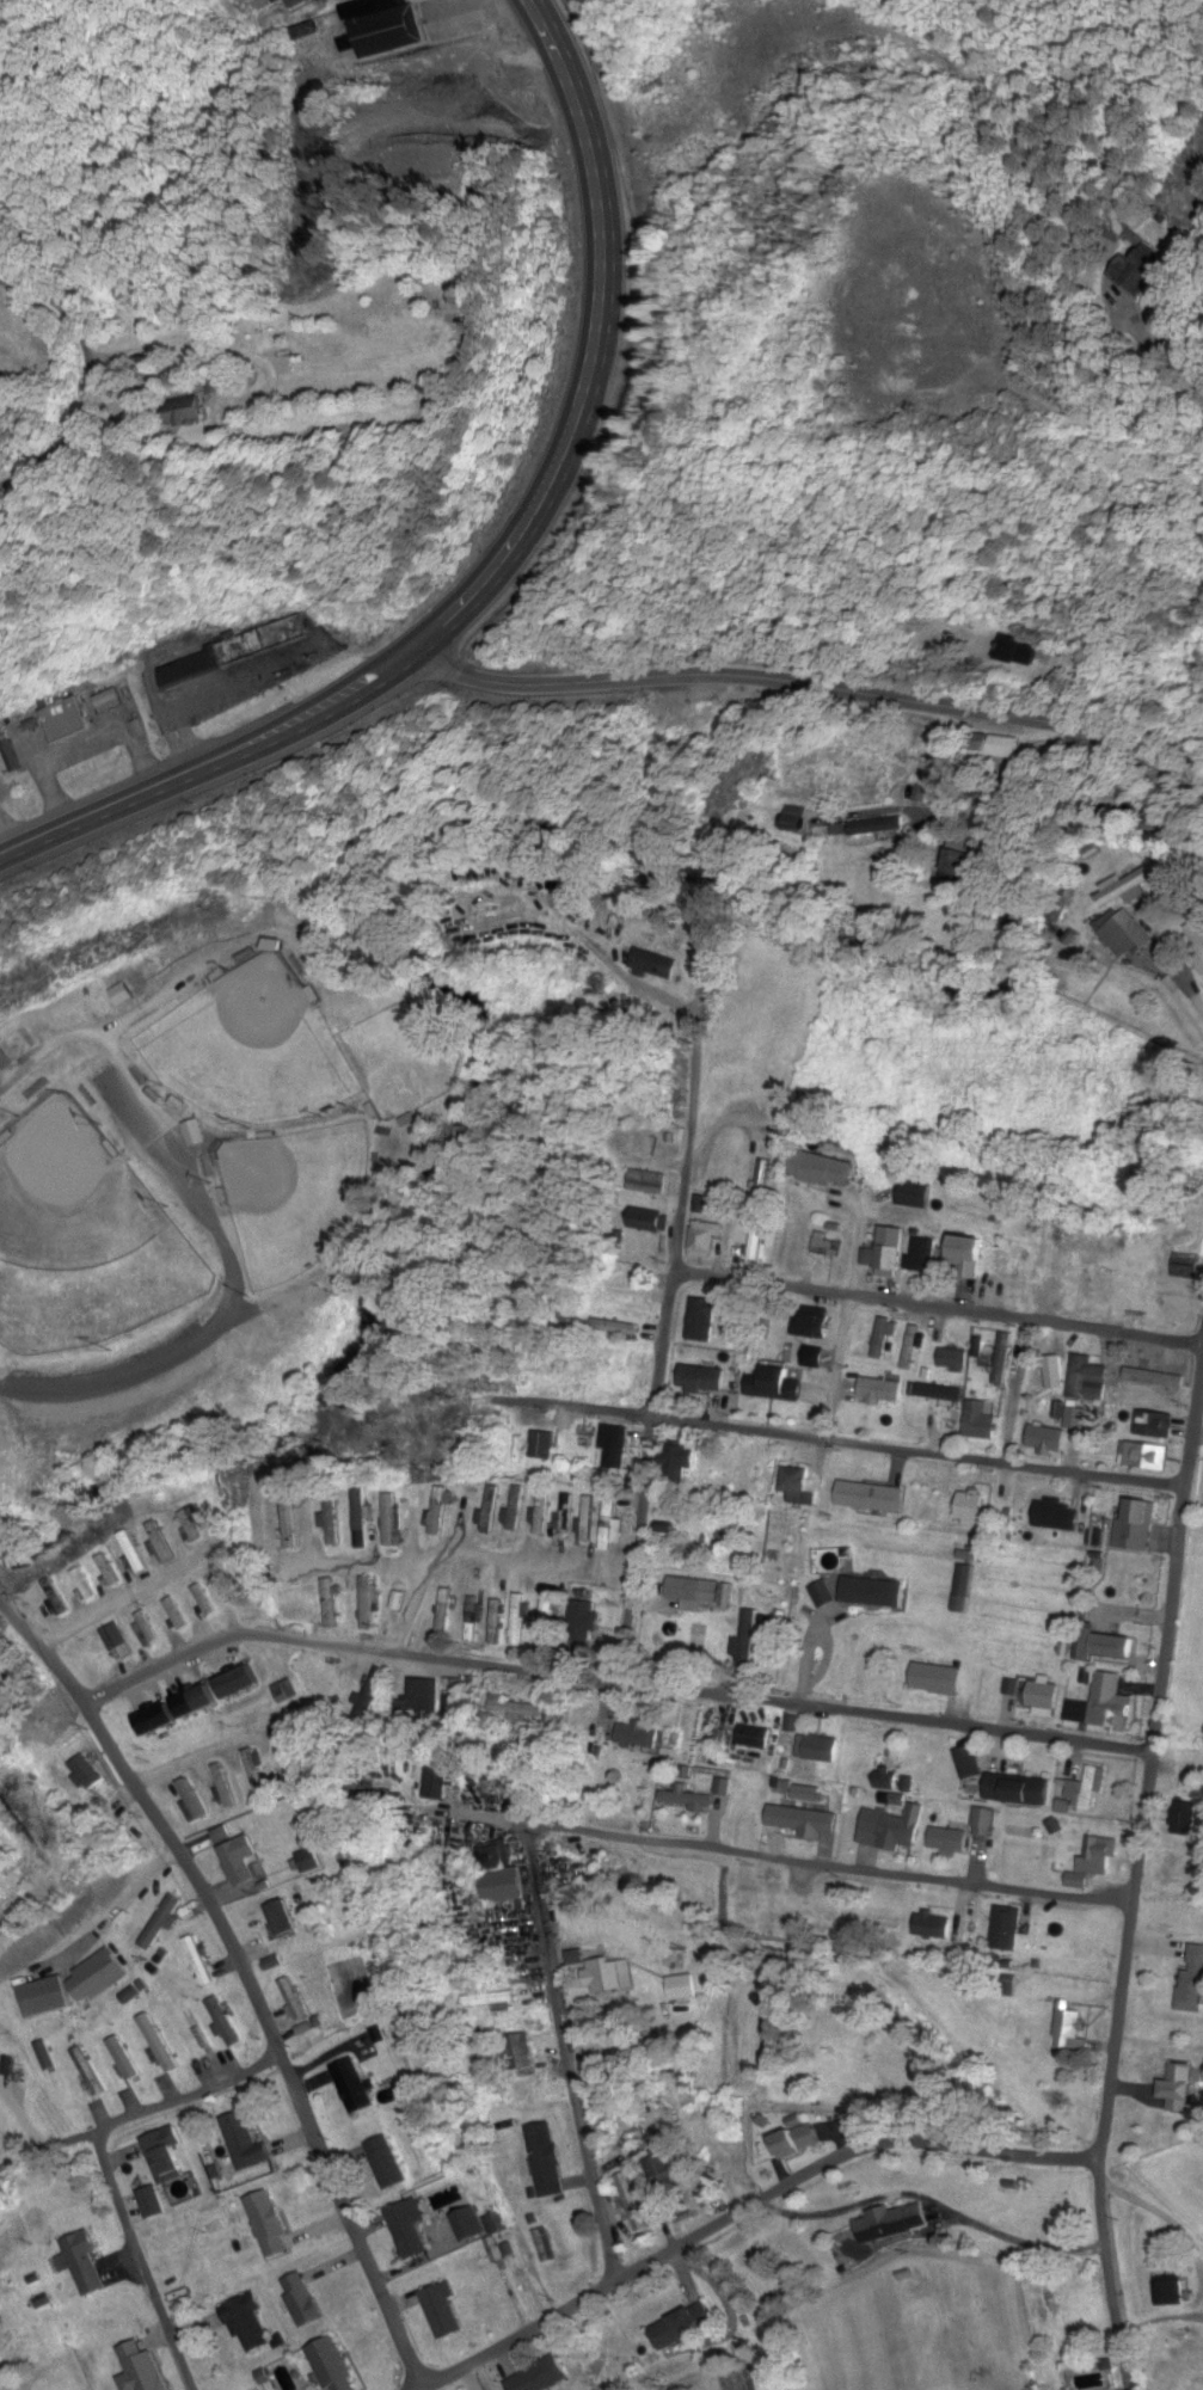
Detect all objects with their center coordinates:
building: (294, 2)
building: (387, 30)
road: (594, 349)
road: (1180, 380)
road: (87, 381)
building: (192, 416)
building: (233, 652)
road: (811, 686)
building: (66, 720)
building: (1007, 745)
road: (211, 768)
building: (877, 824)
building: (958, 862)
building: (1128, 930)
building: (1195, 940)
building: (655, 963)
building: (121, 994)
road: (109, 1027)
building: (17, 1043)
park: (259, 1045)
road: (667, 1076)
road: (692, 1098)
building: (195, 1132)
building: (822, 1168)
building: (646, 1182)
park: (301, 1192)
building: (914, 1194)
building: (647, 1221)
park: (86, 1233)
building: (705, 1239)
building: (755, 1242)
building: (825, 1246)
building: (965, 1253)
building: (925, 1254)
building: (885, 1260)
building: (1186, 1265)
building: (1001, 1274)
building: (1073, 1280)
road: (241, 1284)
building: (627, 1292)
building: (1134, 1300)
road: (938, 1309)
building: (702, 1320)
building: (814, 1325)
building: (619, 1327)
building: (910, 1347)
building: (953, 1358)
building: (1001, 1358)
building: (1055, 1372)
building: (1087, 1378)
building: (1154, 1378)
building: (773, 1381)
building: (880, 1389)
building: (940, 1393)
road: (589, 1411)
road: (652, 1415)
building: (981, 1419)
building: (1152, 1424)
building: (1056, 1431)
building: (542, 1444)
building: (615, 1446)
road: (920, 1454)
building: (1143, 1455)
building: (679, 1462)
building: (797, 1487)
building: (870, 1497)
building: (515, 1507)
building: (491, 1509)
building: (971, 1509)
building: (438, 1511)
building: (540, 1511)
building: (1060, 1513)
building: (565, 1515)
building: (330, 1518)
building: (587, 1518)
building: (389, 1519)
building: (1142, 1520)
building: (191, 1522)
building: (288, 1522)
building: (360, 1522)
building: (607, 1523)
road: (110, 1537)
road: (534, 1567)
road: (361, 1568)
building: (108, 1569)
building: (84, 1584)
building: (694, 1593)
building: (55, 1597)
building: (204, 1599)
building: (395, 1600)
building: (330, 1603)
building: (367, 1603)
road: (121, 1604)
road: (409, 1610)
building: (176, 1614)
building: (444, 1616)
building: (473, 1620)
building: (517, 1620)
building: (497, 1622)
building: (583, 1624)
building: (146, 1628)
building: (119, 1641)
building: (1105, 1645)
road: (344, 1649)
building: (939, 1679)
building: (240, 1683)
building: (1007, 1688)
building: (284, 1691)
building: (1044, 1696)
building: (417, 1701)
building: (454, 1701)
building: (197, 1702)
building: (1103, 1704)
building: (512, 1707)
road: (884, 1718)
building: (158, 1720)
building: (639, 1735)
building: (757, 1737)
building: (818, 1749)
road: (198, 1755)
building: (286, 1761)
building: (933, 1763)
building: (970, 1763)
road: (1150, 1769)
building: (254, 1771)
building: (88, 1772)
building: (436, 1783)
building: (223, 1787)
building: (1018, 1789)
building: (1086, 1789)
building: (190, 1800)
building: (688, 1800)
building: (1181, 1818)
building: (804, 1819)
building: (986, 1820)
building: (894, 1830)
building: (949, 1838)
building: (1095, 1857)
building: (308, 1861)
building: (244, 1862)
road: (808, 1866)
road: (530, 1882)
building: (504, 1885)
building: (763, 1896)
building: (283, 1918)
building: (162, 1923)
building: (932, 1925)
building: (1009, 1927)
building: (201, 1961)
road: (246, 1972)
building: (610, 1974)
building: (97, 1976)
building: (1193, 1984)
building: (685, 1987)
building: (130, 1995)
building: (44, 1997)
building: (294, 1999)
building: (227, 2023)
building: (194, 2026)
building: (1070, 2029)
building: (517, 2052)
building: (45, 2056)
building: (125, 2058)
building: (88, 2072)
road: (575, 2085)
building: (355, 2088)
building: (1180, 2088)
road: (141, 2116)
building: (798, 2140)
building: (246, 2143)
building: (165, 2156)
building: (545, 2161)
building: (387, 2163)
building: (661, 2170)
building: (152, 2200)
building: (631, 2202)
road: (753, 2214)
building: (892, 2223)
building: (270, 2224)
building: (468, 2224)
building: (409, 2229)
building: (544, 2245)
road: (140, 2262)
building: (85, 2263)
road: (1109, 2278)
building: (1161, 2294)
building: (302, 2300)
building: (441, 2310)
building: (248, 2324)
building: (681, 2329)
building: (333, 2366)
building: (140, 2367)
building: (540, 2377)

